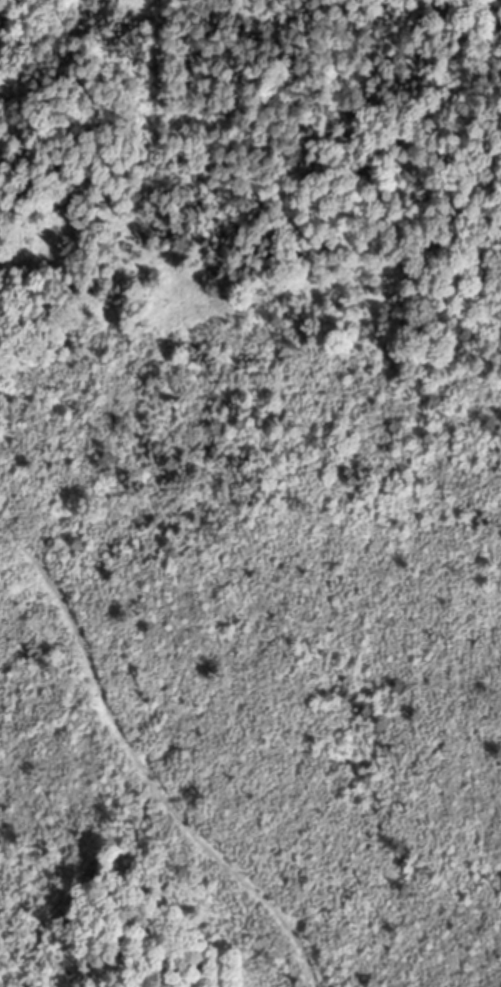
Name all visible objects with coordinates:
road: (129, 770)

